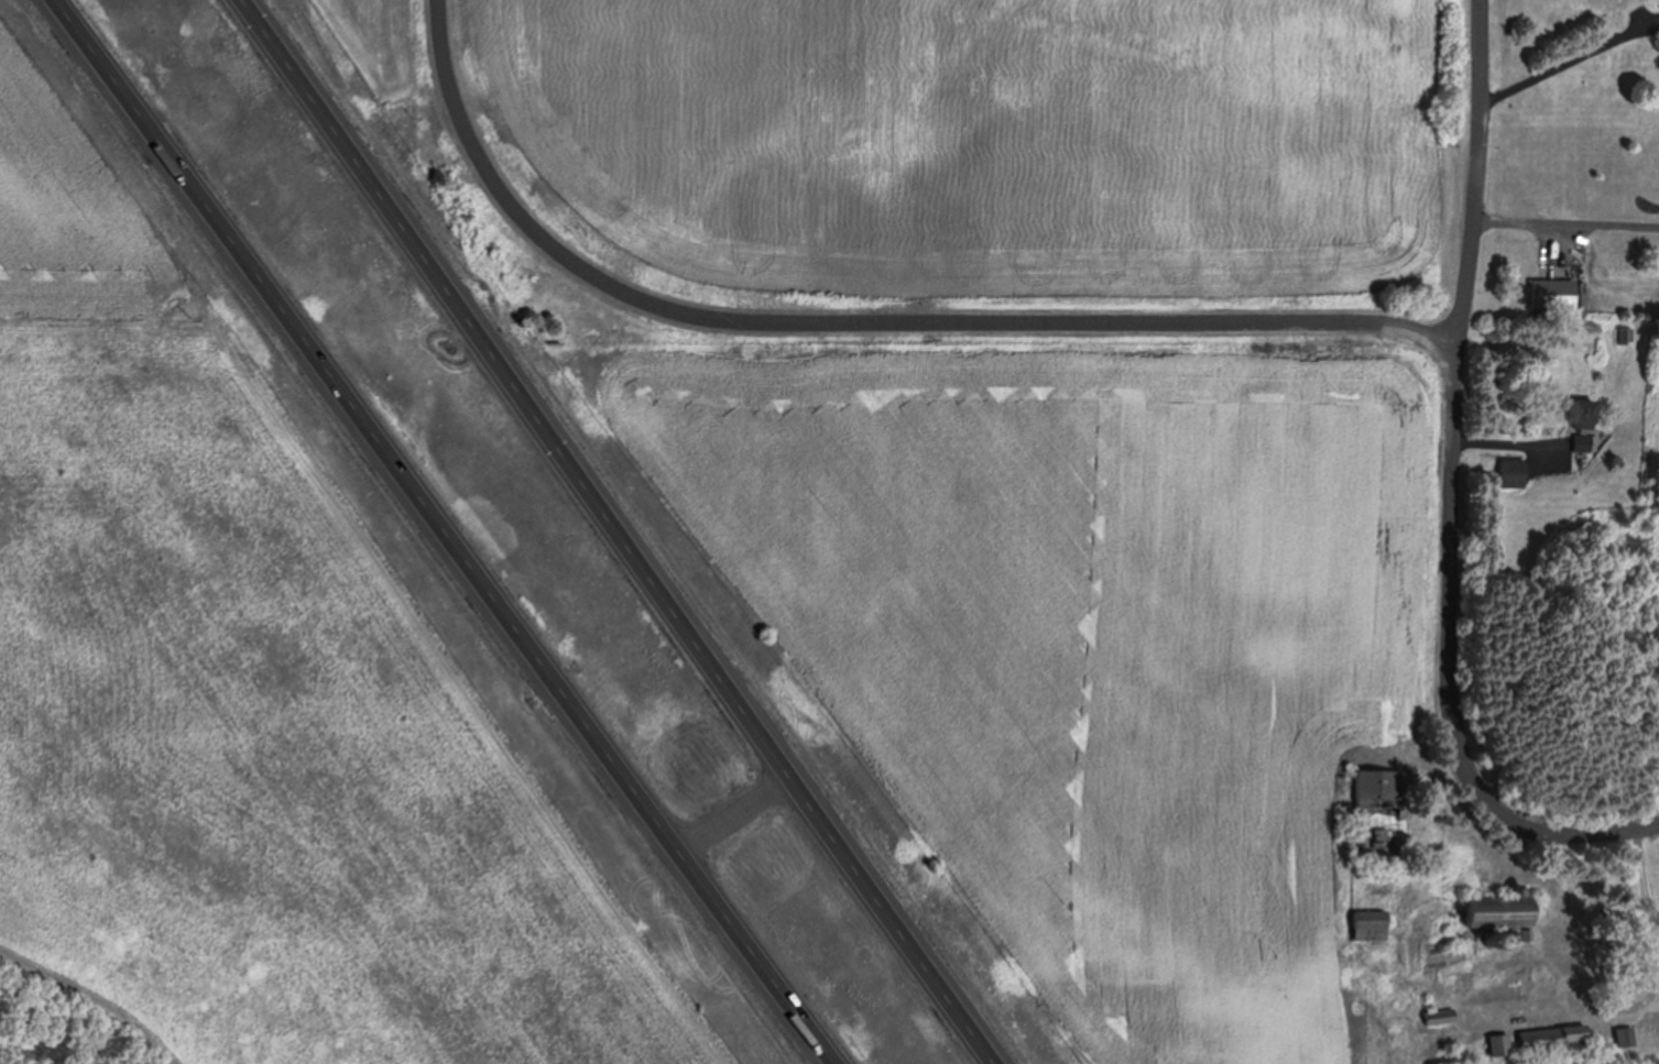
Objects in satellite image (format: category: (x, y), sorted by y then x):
building: (248, 13)
road: (1554, 66)
building: (1656, 99)
road: (1471, 173)
road: (1563, 221)
building: (1559, 285)
road: (851, 325)
building: (1631, 329)
building: (1623, 337)
building: (1586, 407)
building: (1593, 435)
road: (1503, 442)
building: (1517, 464)
building: (1508, 476)
road: (463, 531)
road: (615, 531)
road: (1442, 668)
building: (1379, 807)
road: (744, 816)
road: (1635, 876)
building: (1502, 908)
building: (1373, 922)
building: (1531, 931)
building: (1511, 934)
building: (1497, 936)
building: (1441, 1012)
building: (1575, 1030)
building: (1624, 1034)
building: (1541, 1035)
building: (1615, 1036)
building: (1499, 1041)
building: (981, 1045)

